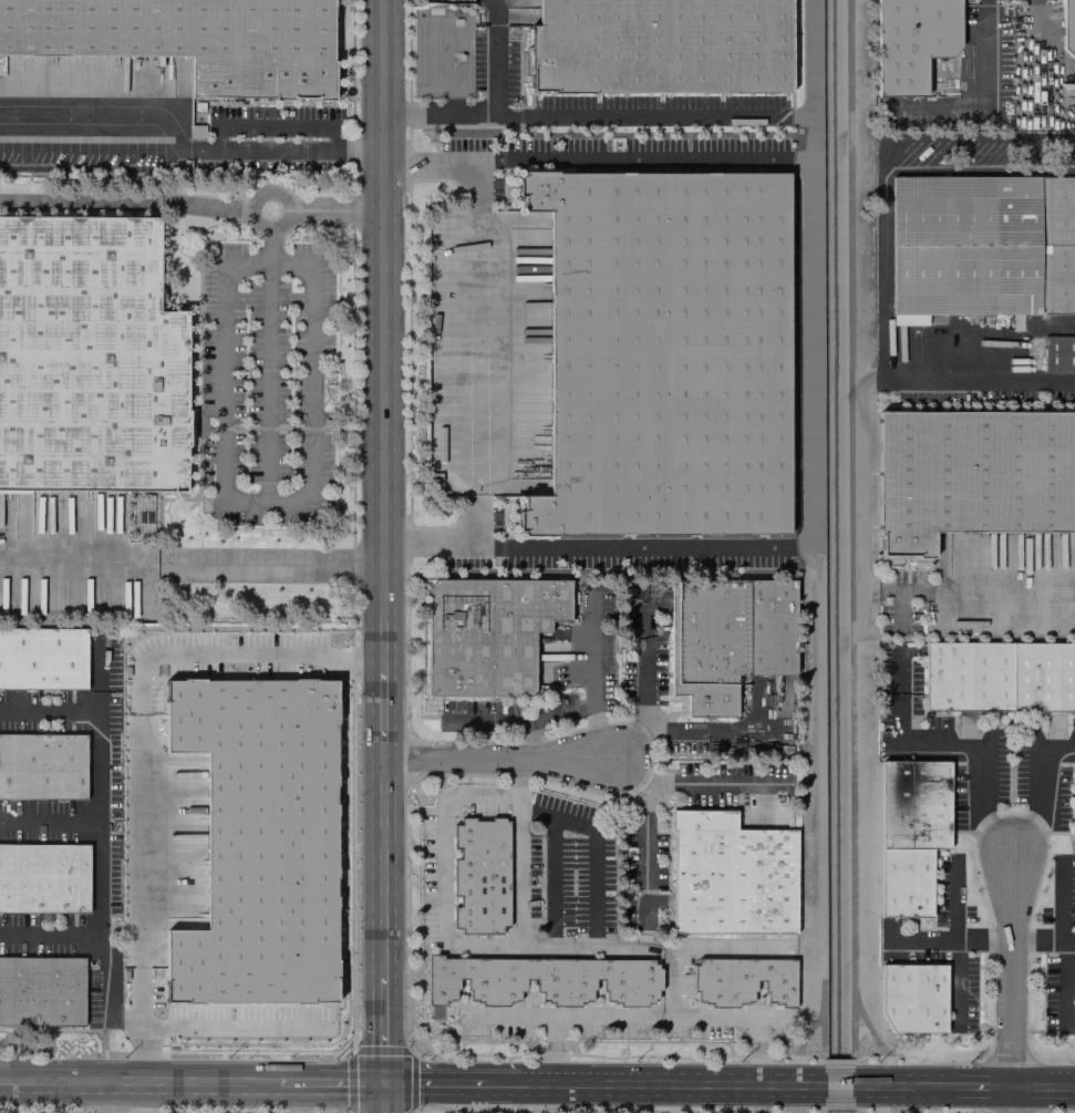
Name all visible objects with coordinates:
building: (1067, 27)
building: (187, 39)
building: (911, 42)
building: (660, 45)
road: (1037, 49)
road: (980, 95)
road: (649, 111)
road: (436, 113)
road: (105, 123)
building: (196, 132)
road: (288, 151)
road: (882, 158)
road: (81, 202)
road: (271, 209)
building: (981, 247)
road: (810, 352)
building: (664, 353)
building: (1058, 353)
building: (87, 355)
road: (883, 370)
building: (972, 475)
road: (242, 501)
road: (850, 532)
road: (382, 556)
building: (890, 559)
road: (80, 564)
road: (270, 566)
road: (970, 590)
building: (488, 633)
building: (727, 637)
building: (42, 658)
road: (146, 661)
road: (645, 664)
building: (970, 676)
road: (592, 677)
building: (1044, 677)
road: (544, 717)
road: (488, 720)
road: (711, 729)
road: (635, 744)
road: (958, 746)
road: (498, 758)
building: (42, 765)
road: (695, 782)
road: (1036, 793)
building: (917, 805)
road: (535, 812)
building: (1074, 813)
road: (51, 818)
road: (568, 822)
building: (259, 841)
road: (102, 847)
road: (644, 855)
road: (441, 872)
building: (731, 875)
building: (480, 876)
building: (43, 878)
building: (908, 882)
road: (955, 900)
road: (52, 934)
road: (1044, 938)
road: (951, 940)
road: (627, 946)
road: (142, 966)
road: (955, 970)
road: (1013, 973)
building: (541, 979)
building: (744, 980)
building: (41, 991)
building: (916, 999)
road: (748, 1016)
road: (507, 1017)
road: (197, 1026)
road: (329, 1082)
traffic signals: (381, 1082)
road: (432, 1082)
road: (508, 1083)
road: (137, 1084)
road: (551, 1084)
road: (614, 1085)
road: (804, 1088)
road: (980, 1089)
road: (1044, 1089)
road: (108, 1099)
road: (790, 1100)
road: (1013, 1101)
road: (854, 1112)

